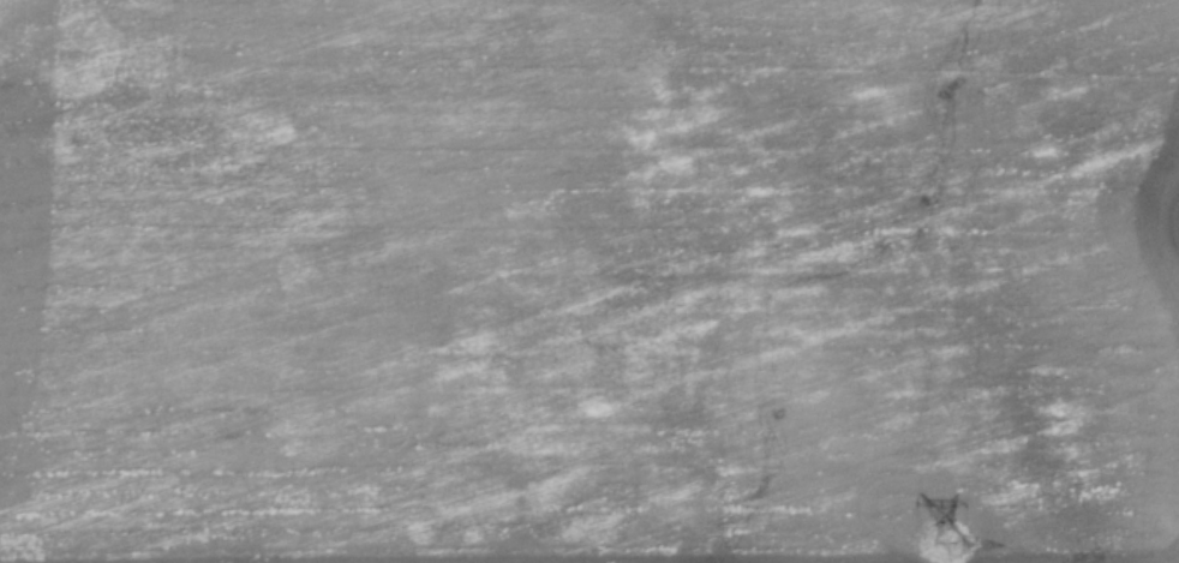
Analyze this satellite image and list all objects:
power tower: (945, 540)

